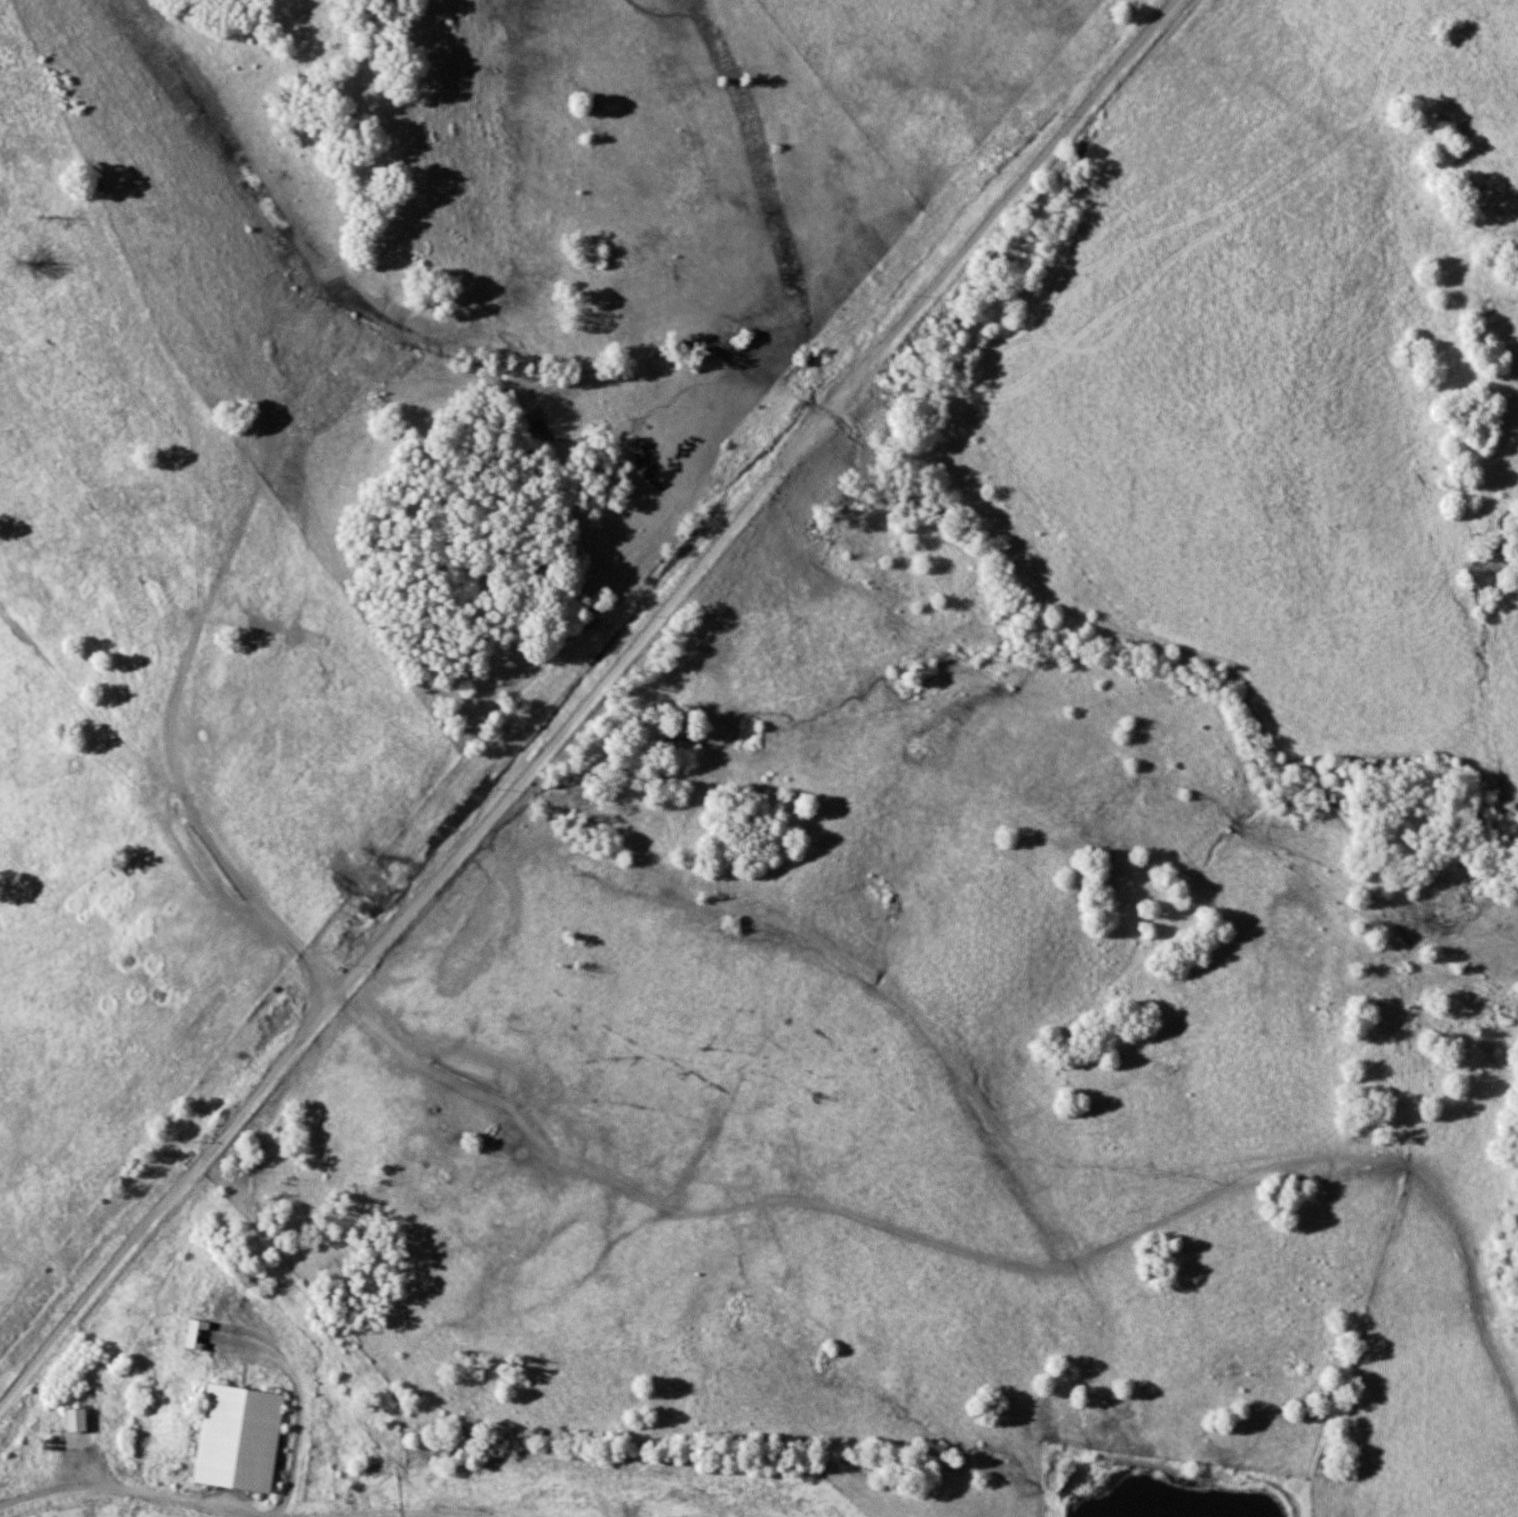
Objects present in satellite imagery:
road: (590, 692)
building: (197, 1335)
building: (76, 1420)
building: (239, 1439)
road: (226, 1507)

